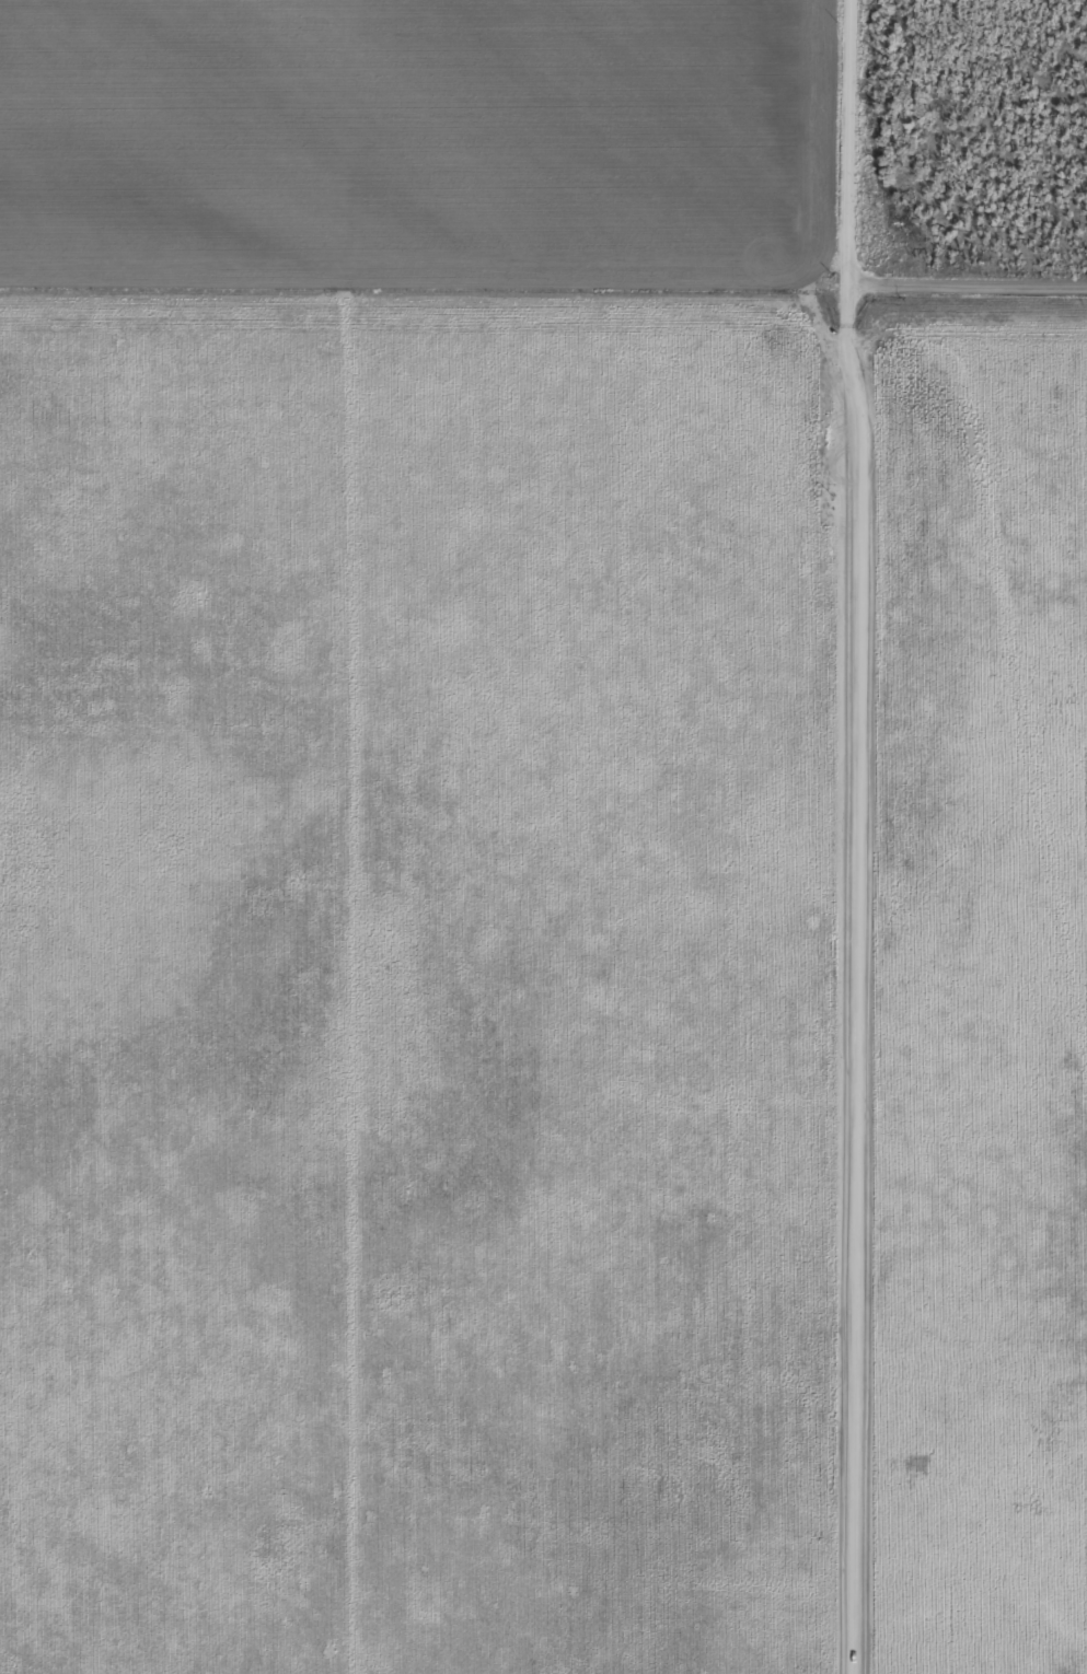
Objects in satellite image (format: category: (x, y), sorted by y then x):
road: (821, 154)
road: (953, 309)
road: (807, 990)

